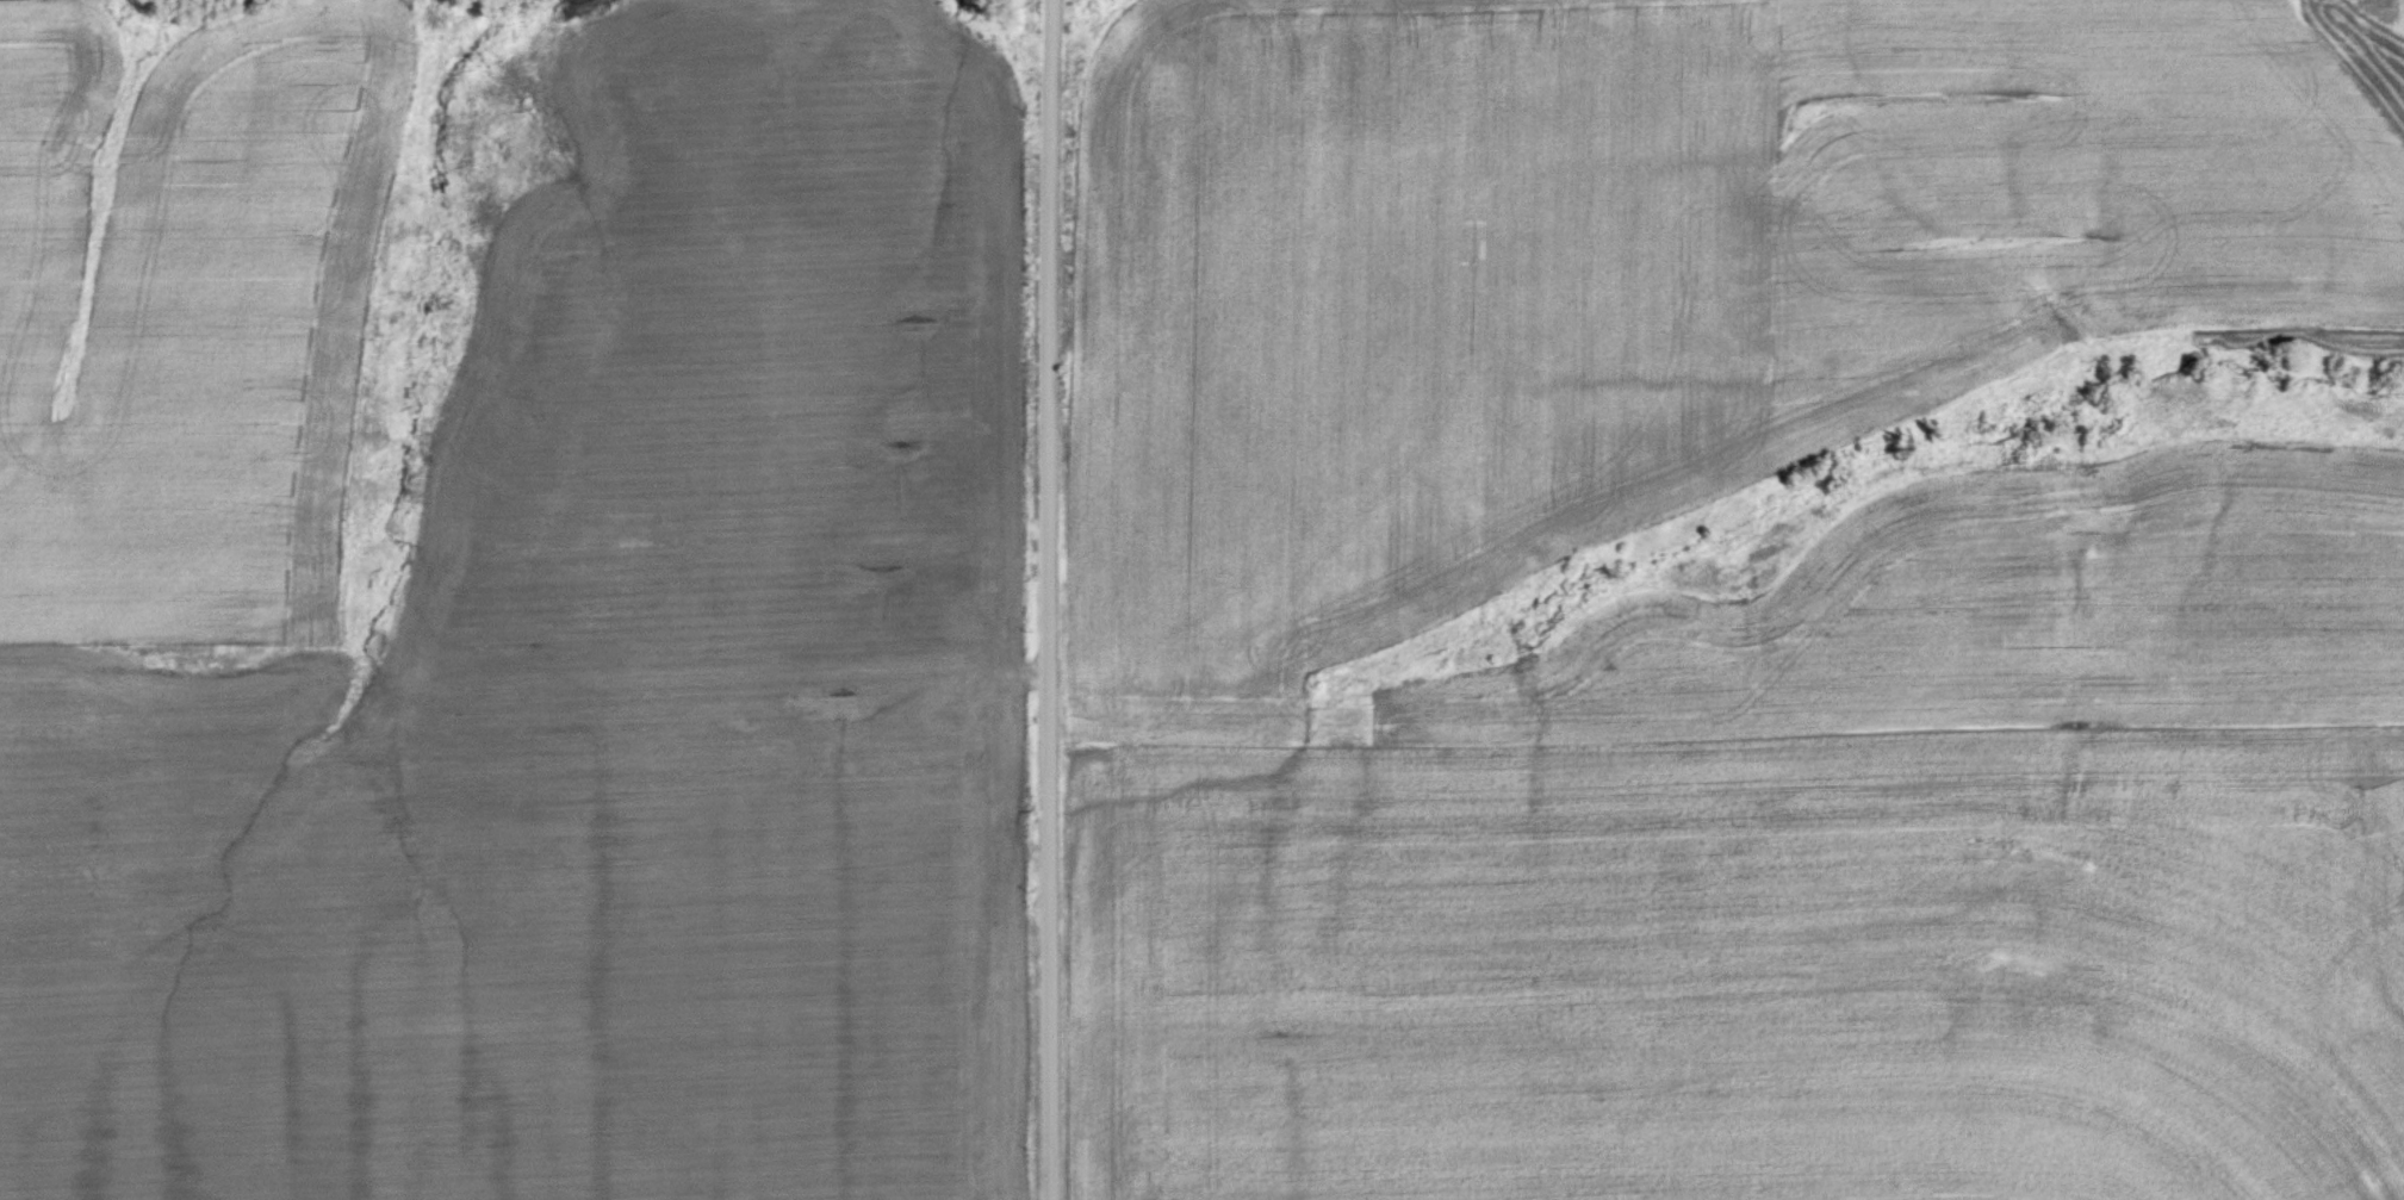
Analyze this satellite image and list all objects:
building: (2402, 7)
road: (1044, 599)

